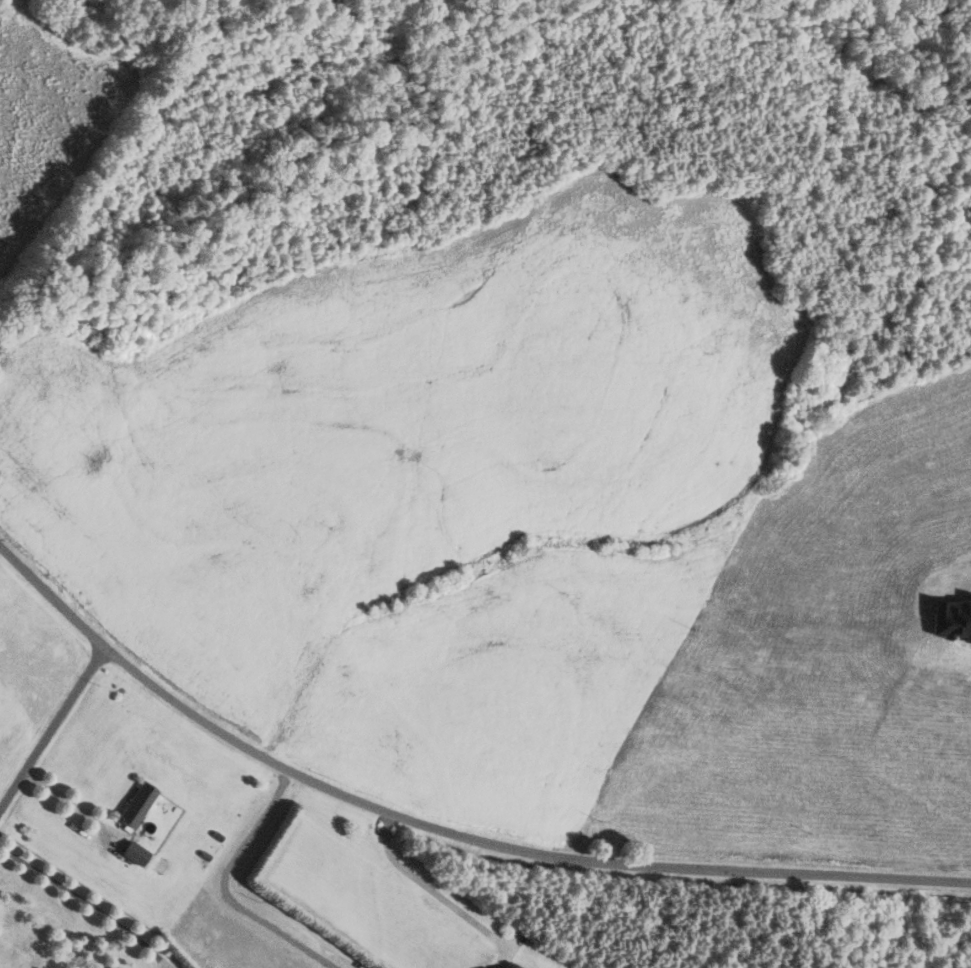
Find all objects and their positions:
road: (55, 729)
building: (139, 806)
road: (441, 823)
building: (137, 854)
road: (88, 902)

